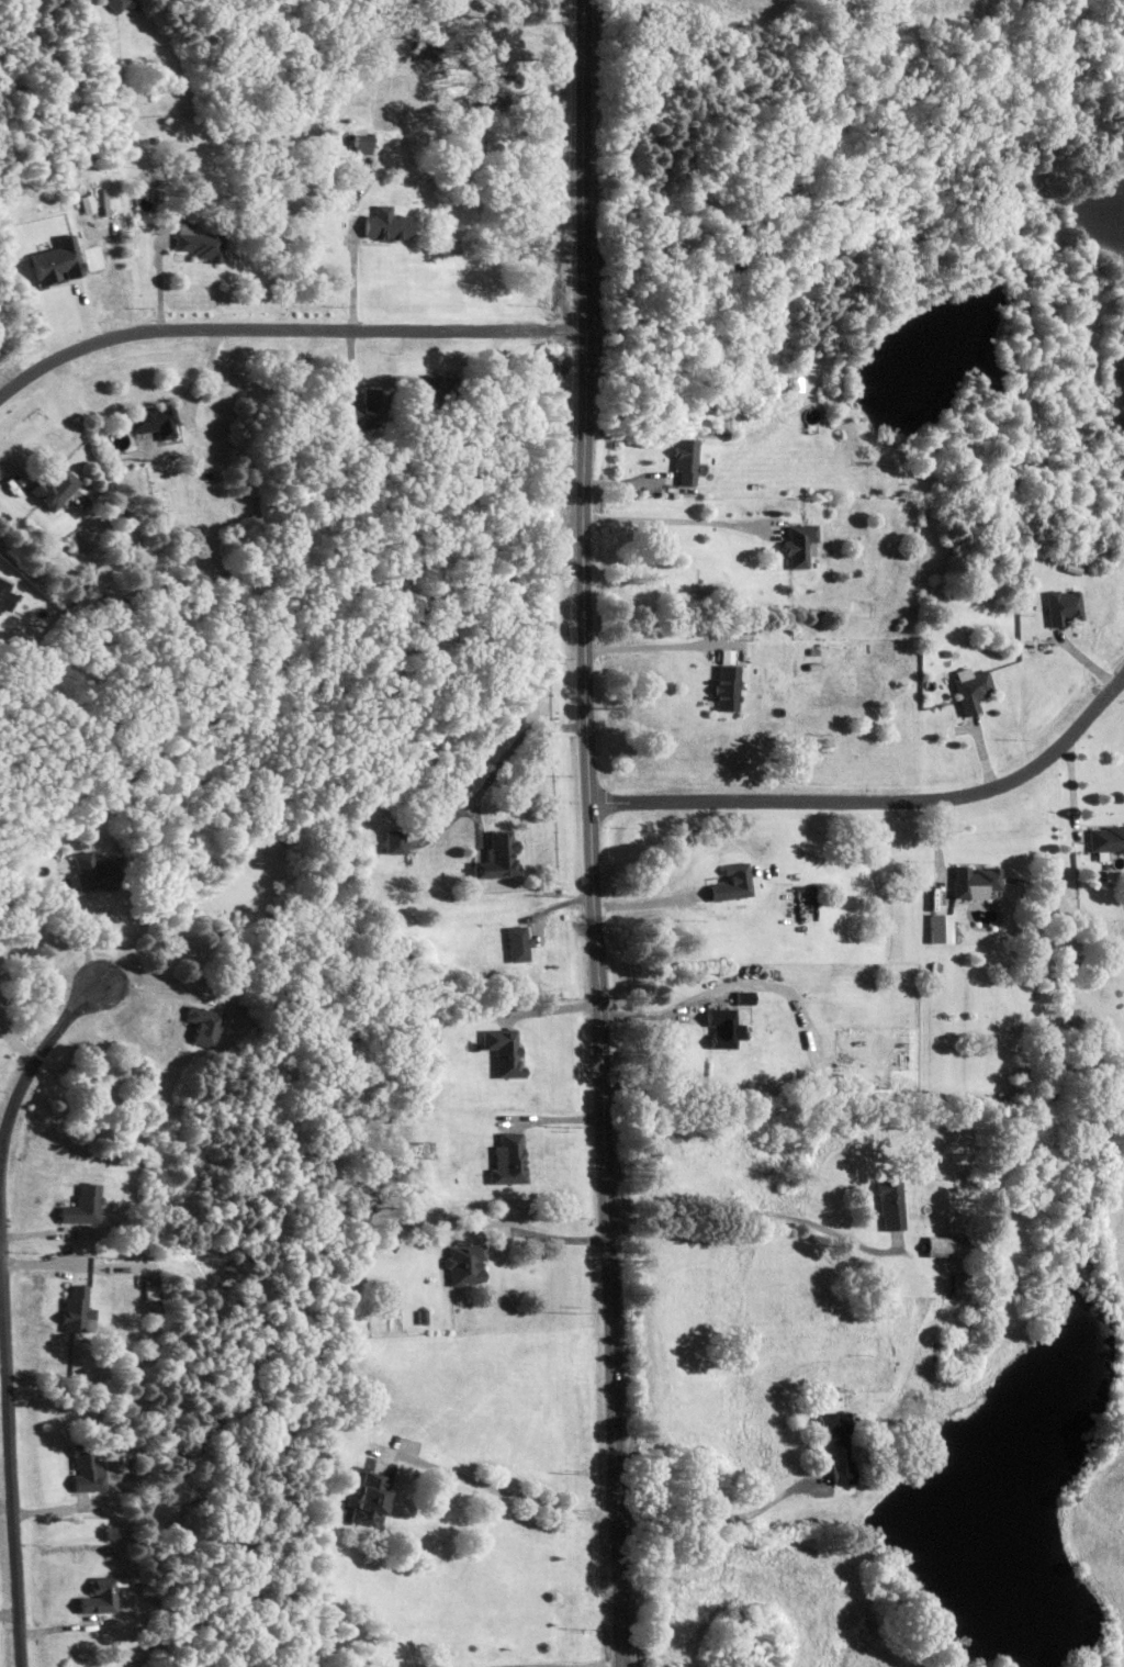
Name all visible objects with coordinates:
building: (116, 3)
building: (359, 142)
building: (86, 202)
building: (385, 223)
building: (198, 240)
building: (55, 259)
road: (353, 277)
road: (282, 328)
building: (356, 412)
building: (153, 419)
building: (683, 458)
building: (54, 485)
road: (673, 519)
building: (798, 544)
building: (5, 594)
building: (1061, 605)
road: (657, 646)
building: (727, 685)
building: (969, 687)
road: (507, 756)
road: (874, 802)
road: (584, 832)
building: (1106, 837)
building: (393, 839)
building: (498, 855)
building: (88, 871)
building: (974, 880)
building: (732, 882)
road: (641, 903)
road: (78, 925)
building: (940, 927)
building: (518, 941)
road: (145, 989)
building: (744, 996)
building: (203, 1023)
building: (723, 1026)
building: (504, 1050)
building: (507, 1159)
building: (83, 1204)
building: (891, 1204)
road: (757, 1213)
road: (1, 1233)
road: (541, 1233)
building: (944, 1245)
building: (464, 1263)
building: (78, 1309)
road: (5, 1311)
building: (839, 1443)
building: (88, 1468)
road: (501, 1487)
building: (370, 1497)
road: (720, 1515)
building: (99, 1595)
road: (535, 1666)

